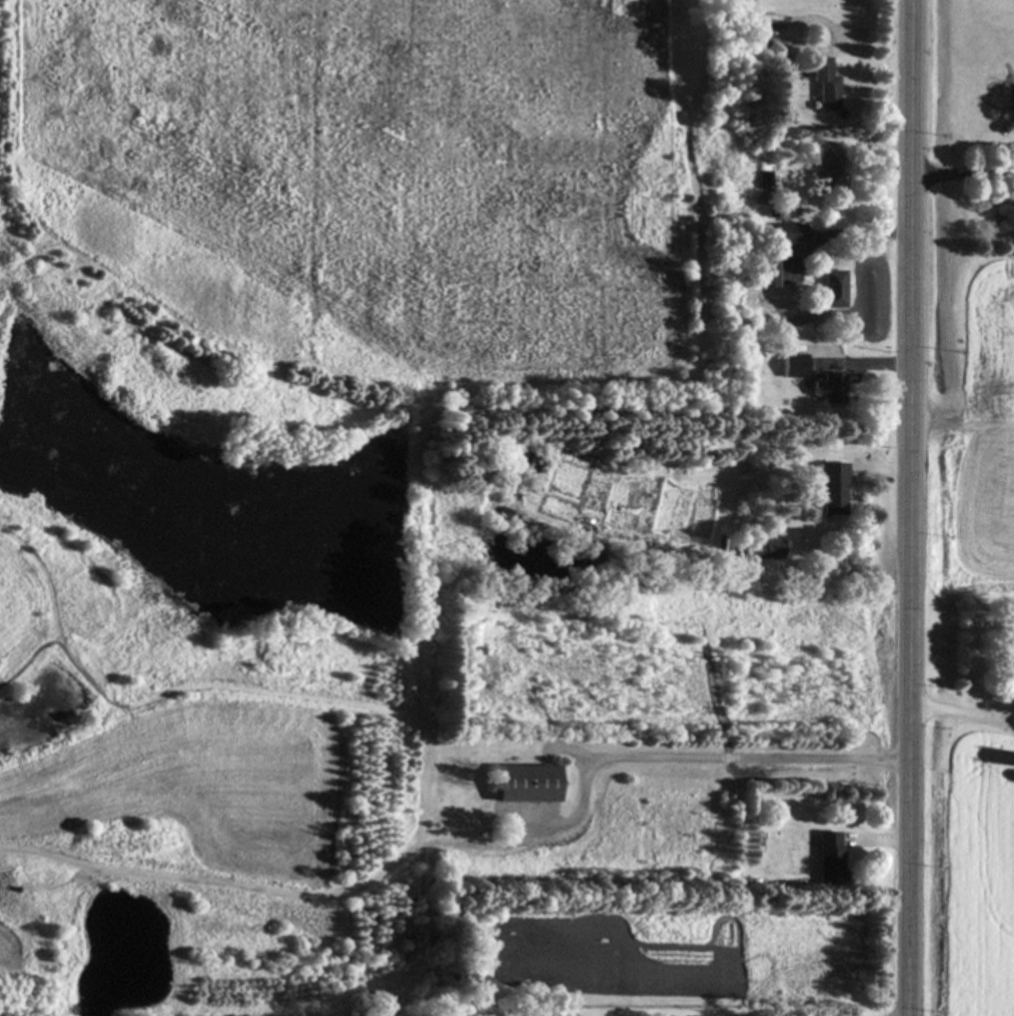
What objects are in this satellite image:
building: (824, 86)
building: (832, 170)
road: (963, 170)
building: (763, 182)
building: (787, 235)
building: (767, 274)
building: (832, 291)
building: (792, 368)
building: (828, 390)
building: (830, 489)
road: (912, 508)
building: (525, 525)
building: (763, 551)
road: (953, 710)
road: (1004, 712)
road: (1004, 721)
road: (704, 756)
building: (524, 785)
building: (828, 859)
road: (906, 1015)

